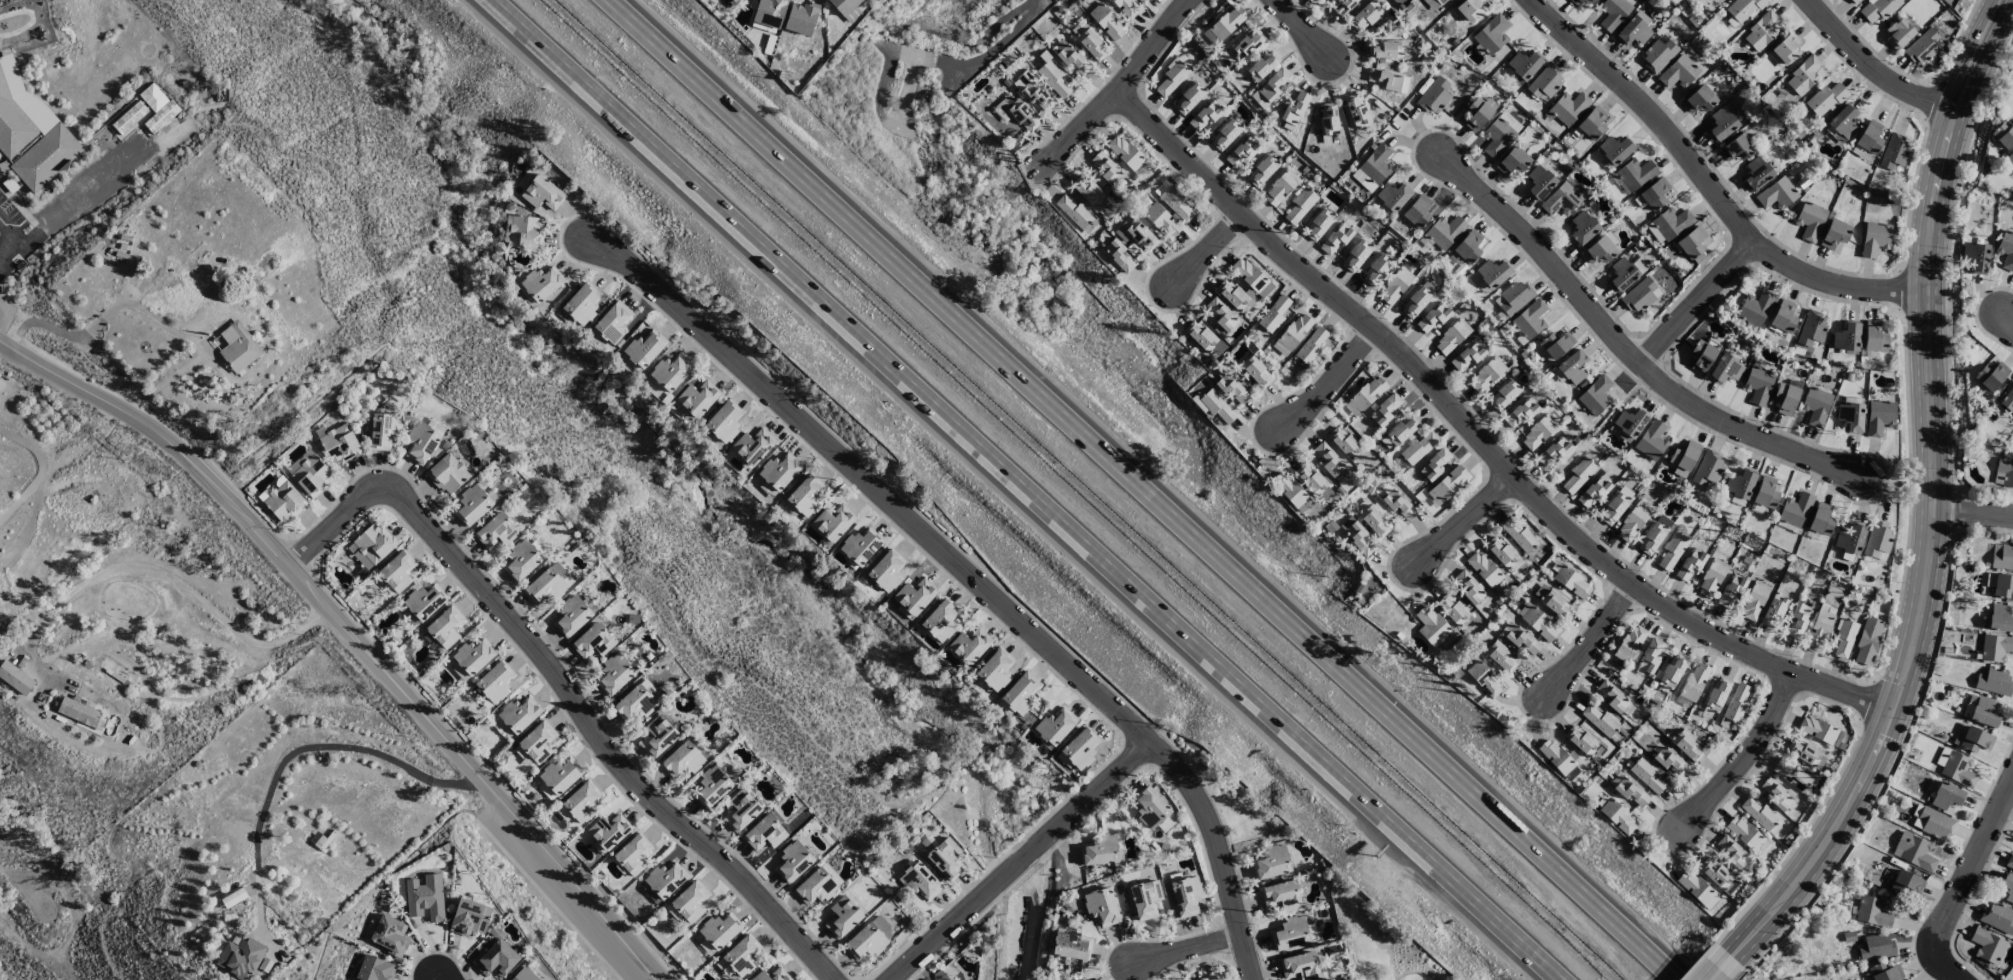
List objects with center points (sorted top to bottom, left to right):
building: (1317, 0)
building: (1627, 0)
building: (1590, 1)
building: (1854, 1)
building: (1577, 2)
building: (844, 6)
building: (1127, 7)
building: (1343, 7)
building: (1470, 8)
building: (1744, 8)
building: (1878, 9)
building: (770, 12)
building: (1613, 13)
building: (1365, 16)
building: (801, 18)
building: (1106, 22)
building: (1225, 24)
road: (1305, 29)
building: (1634, 30)
building: (1761, 30)
building: (1899, 32)
building: (1491, 34)
road: (1018, 35)
road: (985, 40)
building: (1091, 43)
building: (1248, 43)
building: (1924, 47)
building: (1784, 49)
building: (1384, 50)
building: (1658, 56)
building: (1072, 59)
building: (1262, 65)
building: (1523, 66)
road: (1874, 68)
building: (1679, 72)
building: (1804, 75)
building: (1172, 77)
building: (1053, 78)
building: (1389, 80)
building: (1546, 81)
road: (1120, 86)
building: (1271, 88)
building: (1034, 91)
building: (1435, 95)
building: (1188, 98)
building: (1699, 99)
building: (1826, 99)
building: (1569, 107)
building: (1295, 109)
building: (1356, 109)
building: (1019, 112)
building: (144, 113)
building: (1480, 113)
building: (1207, 114)
building: (1328, 118)
building: (1844, 121)
building: (1592, 122)
building: (1722, 124)
building: (1285, 125)
building: (31, 132)
building: (1225, 134)
building: (1500, 134)
building: (2003, 135)
building: (1870, 137)
building: (1737, 147)
building: (1615, 150)
building: (1895, 151)
building: (1125, 152)
building: (1241, 152)
building: (2010, 158)
building: (1513, 161)
building: (1107, 169)
building: (1373, 169)
building: (1142, 170)
building: (1262, 171)
building: (1756, 173)
building: (1634, 174)
building: (1539, 182)
road: (1713, 185)
building: (1161, 187)
building: (1281, 187)
building: (1087, 190)
building: (542, 193)
building: (1655, 194)
building: (1777, 194)
building: (1393, 196)
building: (1562, 200)
road: (72, 203)
building: (1176, 203)
building: (1300, 205)
building: (1073, 211)
building: (1417, 212)
building: (1810, 220)
building: (1162, 221)
building: (1319, 224)
building: (1669, 224)
building: (1583, 228)
road: (10, 230)
building: (525, 232)
building: (1445, 232)
building: (1139, 234)
building: (1835, 235)
building: (1875, 238)
building: (1336, 240)
building: (1692, 245)
building: (1467, 247)
road: (1206, 249)
building: (2006, 250)
road: (1, 251)
building: (1599, 251)
building: (1118, 254)
building: (1356, 255)
building: (1976, 257)
building: (1376, 269)
building: (1493, 273)
building: (1249, 274)
building: (1622, 274)
building: (541, 283)
building: (1395, 286)
building: (1231, 294)
building: (1641, 295)
building: (1514, 297)
building: (1418, 300)
road: (1698, 302)
building: (581, 304)
building: (1755, 307)
building: (1275, 313)
road: (106, 314)
building: (1220, 314)
building: (1434, 316)
building: (1783, 316)
road: (2009, 318)
building: (1530, 319)
building: (612, 323)
building: (1811, 328)
building: (1293, 334)
building: (1200, 335)
building: (1452, 337)
building: (1847, 337)
building: (1875, 338)
road: (1, 342)
building: (1557, 344)
building: (1312, 345)
building: (239, 347)
building: (645, 348)
road: (1628, 348)
building: (1467, 356)
building: (1702, 356)
building: (1573, 367)
building: (1726, 369)
building: (671, 372)
building: (1256, 372)
building: (1486, 375)
building: (1991, 375)
road: (1330, 382)
building: (1759, 384)
building: (1232, 389)
building: (1503, 395)
building: (1596, 395)
building: (698, 398)
building: (1786, 398)
building: (2007, 399)
building: (1376, 401)
building: (1217, 406)
building: (1816, 406)
building: (1521, 413)
building: (1851, 417)
building: (1879, 417)
building: (724, 421)
building: (1630, 424)
building: (384, 430)
building: (1400, 432)
building: (1538, 432)
road: (159, 435)
road: (1480, 437)
building: (1652, 440)
building: (1343, 441)
building: (421, 442)
building: (339, 443)
building: (752, 447)
building: (1418, 448)
building: (1553, 452)
building: (1683, 458)
building: (1328, 459)
building: (1434, 464)
building: (1707, 467)
road: (41, 470)
building: (779, 471)
building: (310, 473)
building: (2004, 473)
building: (447, 474)
building: (1579, 474)
building: (1311, 479)
building: (1449, 482)
building: (1740, 484)
building: (1289, 488)
road: (1020, 490)
road: (1149, 490)
building: (1593, 492)
building: (1766, 493)
building: (806, 495)
road: (1936, 497)
building: (285, 502)
building: (472, 505)
building: (1399, 505)
building: (1613, 508)
road: (1974, 510)
building: (1795, 512)
road: (1466, 518)
building: (1375, 521)
building: (1820, 521)
building: (833, 522)
building: (1632, 523)
building: (497, 531)
building: (1356, 535)
building: (1519, 535)
building: (1654, 535)
building: (1850, 539)
building: (1877, 539)
building: (371, 545)
building: (861, 546)
building: (1500, 551)
building: (1672, 552)
building: (2003, 558)
building: (521, 560)
building: (1690, 564)
building: (1484, 568)
building: (887, 570)
building: (397, 571)
road: (972, 572)
road: (158, 574)
building: (1711, 578)
road: (312, 582)
building: (1572, 582)
building: (547, 584)
building: (2001, 585)
building: (1470, 587)
building: (915, 595)
building: (1553, 601)
building: (1754, 601)
building: (424, 602)
building: (1452, 608)
building: (1774, 611)
building: (572, 615)
building: (2000, 618)
building: (1798, 619)
building: (940, 621)
building: (1537, 622)
building: (1431, 626)
building: (446, 627)
building: (1819, 629)
building: (1520, 638)
road: (1594, 639)
building: (1845, 639)
building: (593, 641)
building: (1868, 641)
building: (1630, 643)
building: (970, 646)
building: (1995, 647)
building: (474, 656)
building: (1501, 656)
building: (1650, 656)
building: (1673, 669)
building: (995, 670)
building: (460, 672)
building: (615, 673)
building: (15, 678)
building: (1484, 678)
building: (1695, 681)
building: (495, 682)
building: (1994, 682)
road: (570, 690)
building: (1021, 693)
building: (1717, 693)
building: (1613, 697)
building: (635, 703)
building: (1736, 703)
building: (1984, 712)
building: (81, 713)
building: (518, 714)
building: (1600, 720)
building: (1056, 725)
building: (1818, 729)
building: (658, 737)
building: (1580, 740)
building: (1975, 740)
building: (538, 741)
building: (1687, 745)
building: (1081, 748)
road: (300, 750)
building: (1805, 753)
road: (1745, 755)
building: (1555, 756)
building: (685, 758)
building: (1670, 761)
building: (1958, 769)
building: (560, 775)
building: (1647, 775)
building: (1795, 776)
building: (712, 786)
road: (494, 791)
building: (1631, 791)
building: (547, 792)
building: (1776, 793)
building: (1946, 796)
building: (582, 801)
building: (1150, 807)
building: (741, 810)
building: (1759, 813)
building: (1618, 816)
building: (1931, 822)
building: (609, 831)
building: (1744, 832)
building: (765, 833)
road: (1986, 840)
building: (1100, 850)
building: (1732, 852)
building: (1914, 852)
building: (633, 854)
building: (946, 858)
road: (1021, 859)
building: (793, 861)
building: (2009, 861)
building: (1272, 862)
building: (1714, 872)
building: (665, 879)
building: (921, 881)
building: (1907, 884)
building: (816, 887)
building: (2008, 887)
building: (1697, 889)
building: (1186, 895)
building: (1282, 896)
building: (425, 897)
building: (1146, 899)
building: (689, 902)
building: (1101, 906)
building: (1873, 912)
building: (470, 917)
building: (842, 917)
building: (1997, 917)
building: (720, 930)
building: (1290, 933)
building: (390, 935)
building: (869, 938)
park: (1379, 938)
road: (1938, 940)
road: (1377, 942)
building: (1070, 944)
building: (1987, 945)
building: (706, 947)
building: (1875, 947)
road: (1187, 948)
building: (742, 955)
building: (241, 957)
building: (496, 959)
road: (1390, 962)
building: (1300, 966)
building: (724, 967)
road: (1726, 967)
building: (375, 969)
road: (1416, 972)
building: (1885, 972)
building: (524, 975)
building: (772, 975)
road: (442, 977)
building: (1208, 978)

